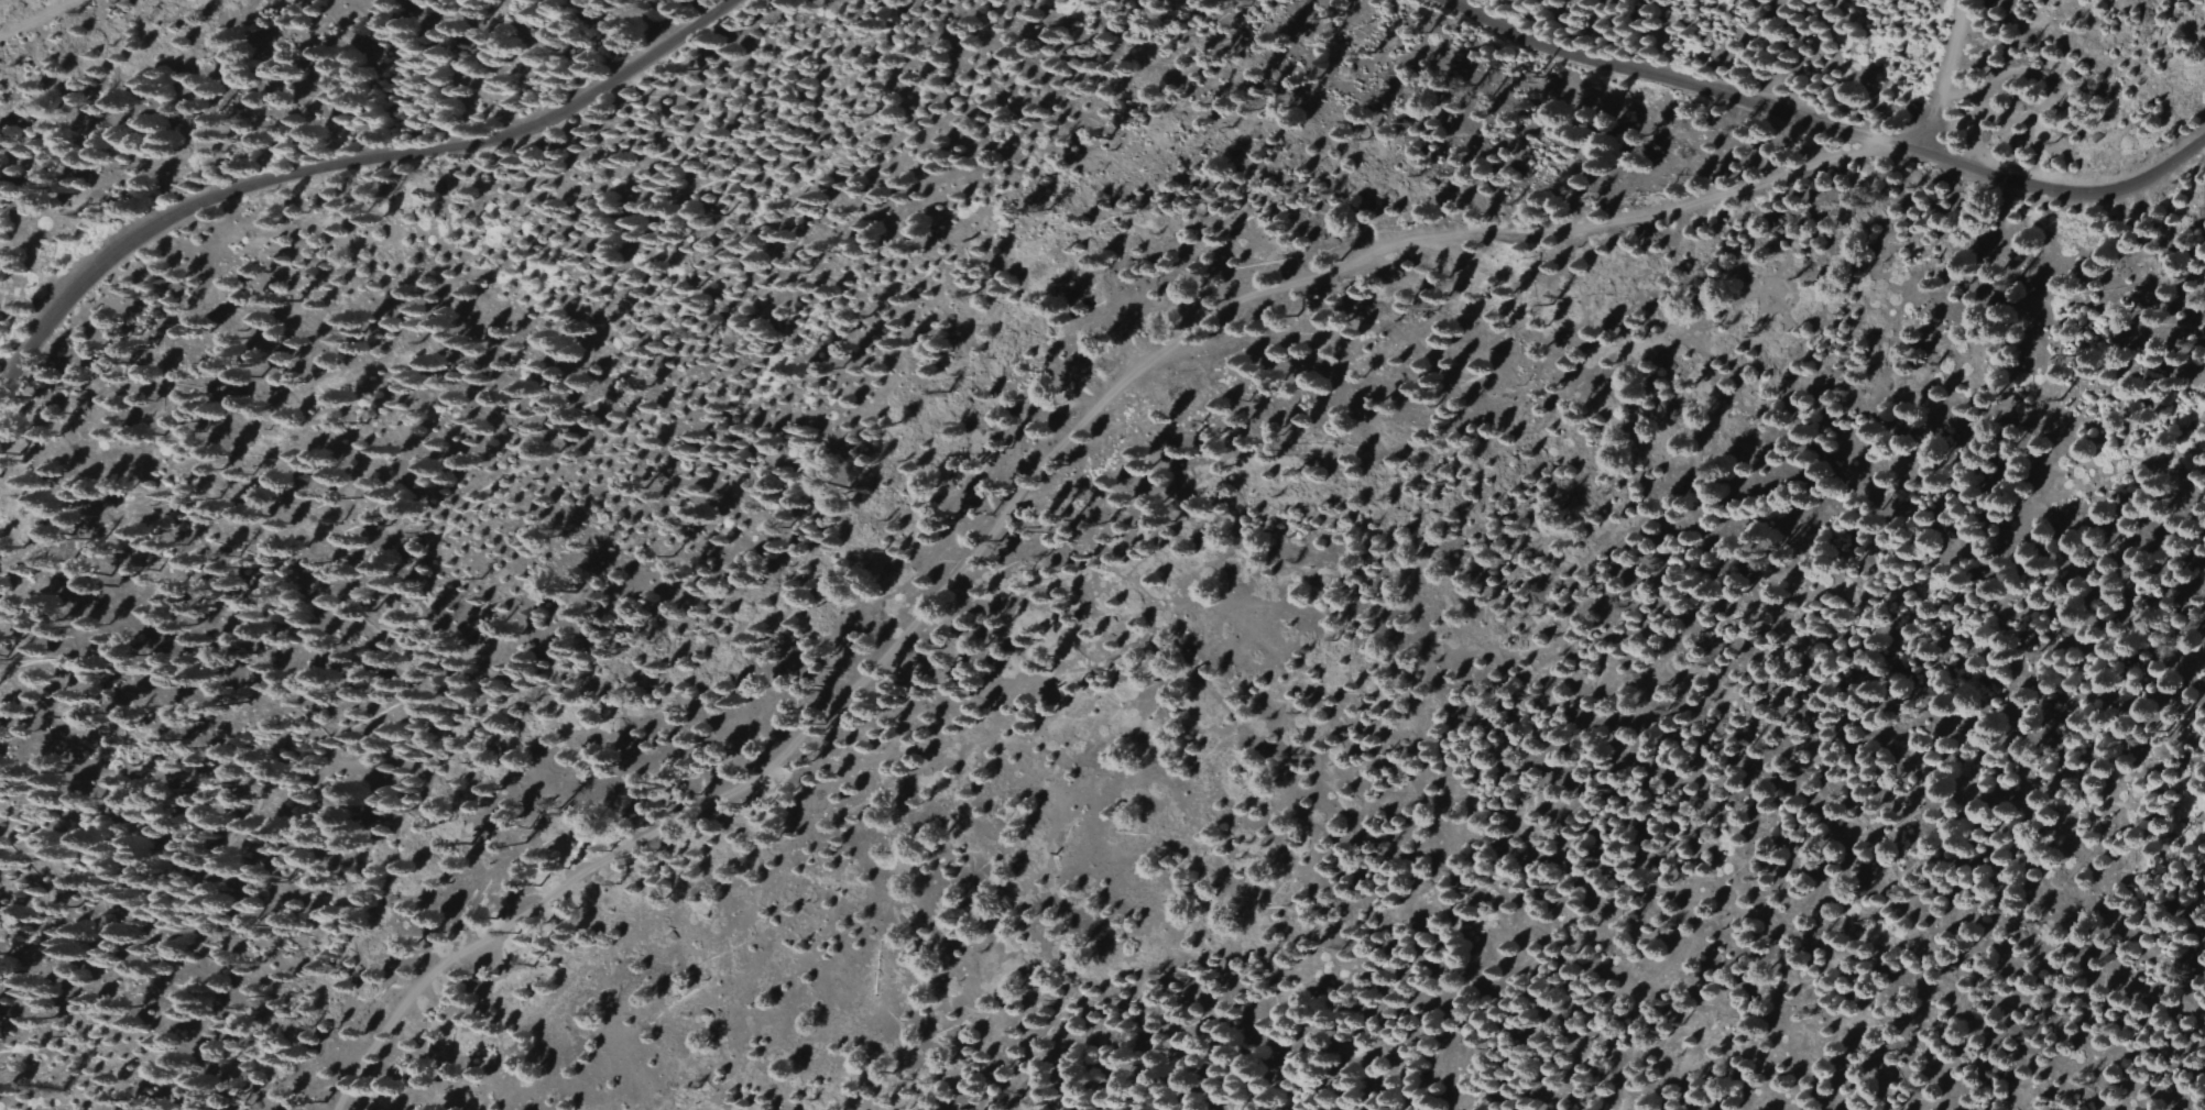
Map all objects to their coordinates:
road: (20, 13)
road: (1949, 77)
road: (1683, 84)
road: (342, 165)
road: (2071, 194)
road: (1001, 435)

